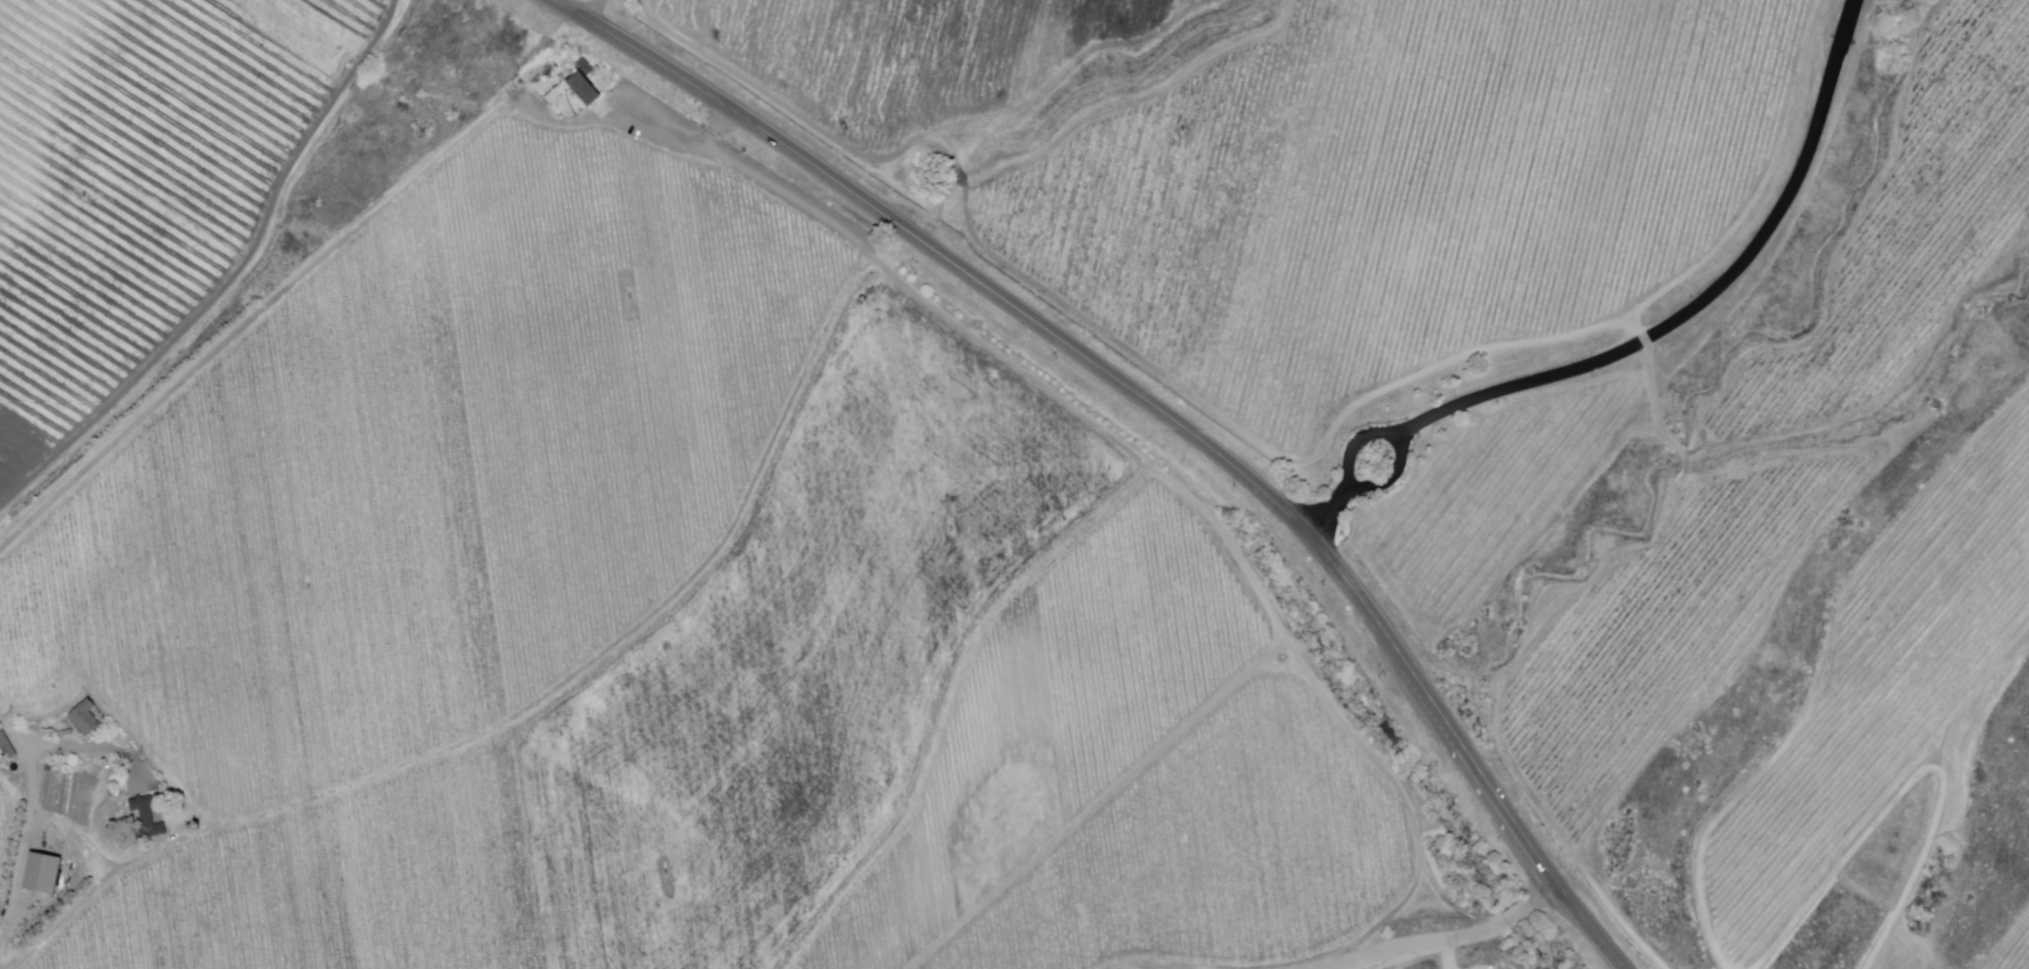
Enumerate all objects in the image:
road: (595, 11)
building: (582, 88)
road: (347, 248)
road: (1707, 295)
road: (1155, 413)
road: (1354, 444)
road: (1389, 478)
road: (1324, 514)
building: (83, 719)
building: (43, 726)
building: (66, 734)
road: (78, 747)
building: (6, 748)
building: (150, 815)
road: (26, 837)
building: (39, 876)
road: (1439, 940)

